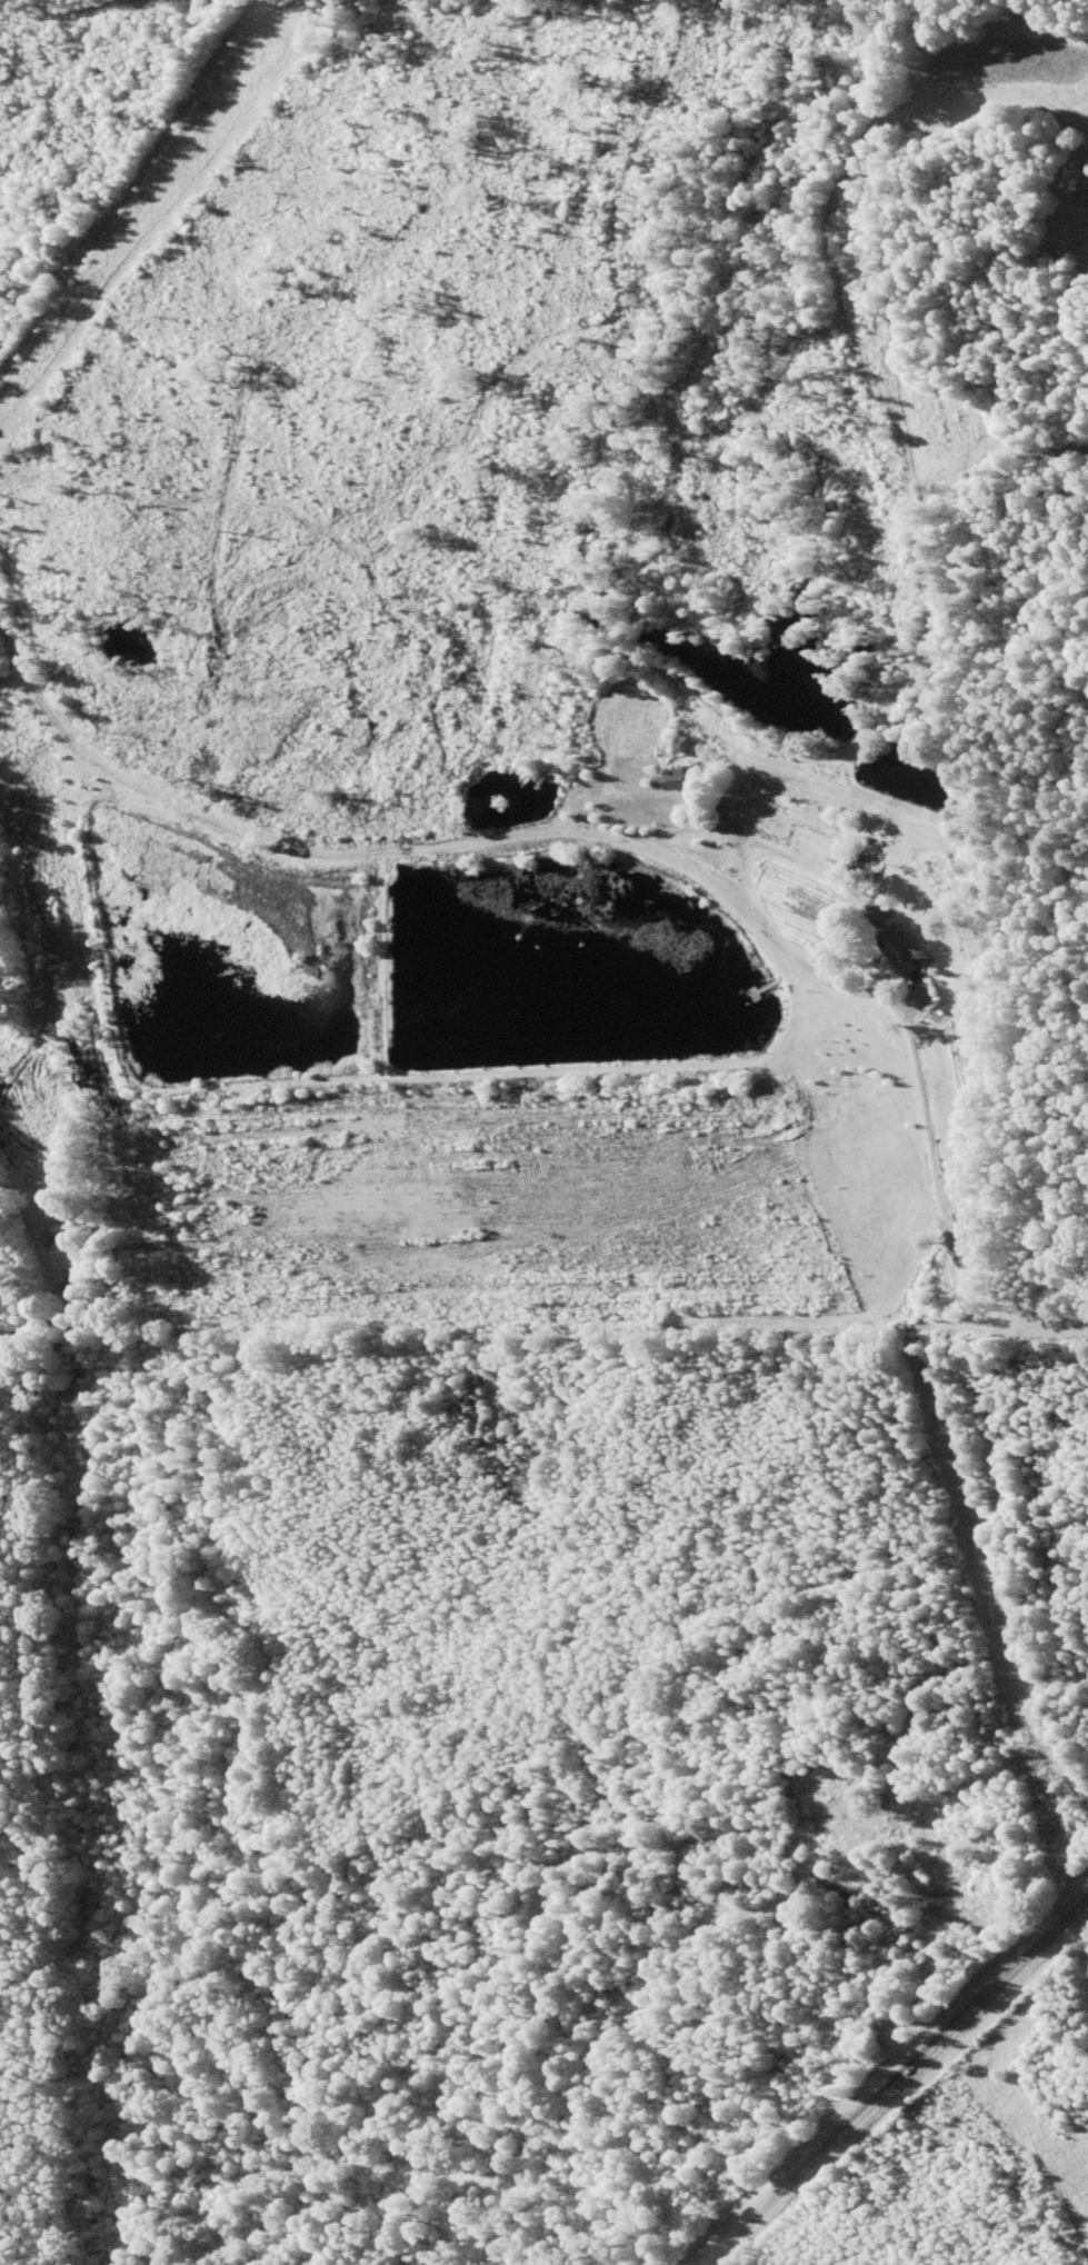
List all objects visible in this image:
building: (676, 776)
building: (852, 864)
building: (874, 910)
building: (892, 947)
road: (886, 1050)
road: (890, 2077)

